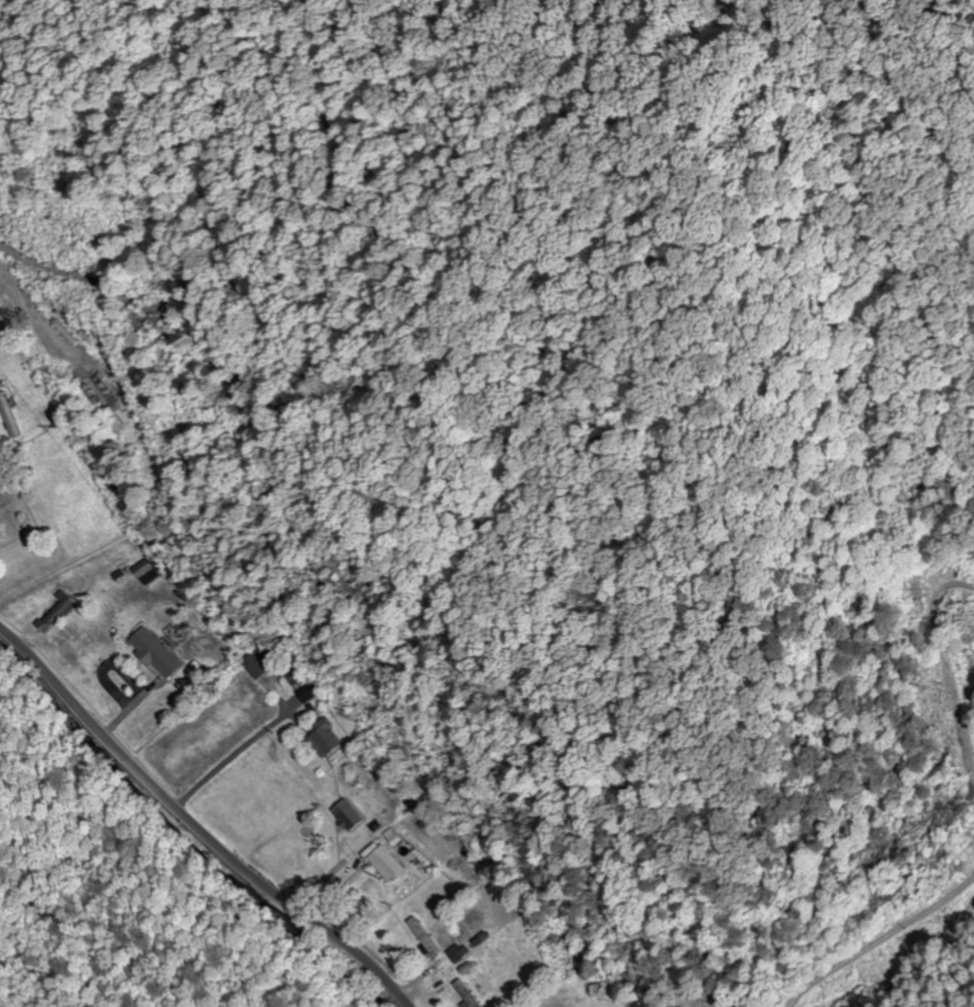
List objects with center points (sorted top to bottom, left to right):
building: (98, 388)
building: (10, 417)
building: (145, 570)
building: (55, 612)
building: (155, 651)
building: (255, 662)
building: (304, 693)
building: (321, 739)
building: (345, 814)
road: (196, 826)
building: (384, 863)
building: (422, 936)
road: (879, 937)
building: (454, 952)
road: (892, 972)
building: (465, 994)

